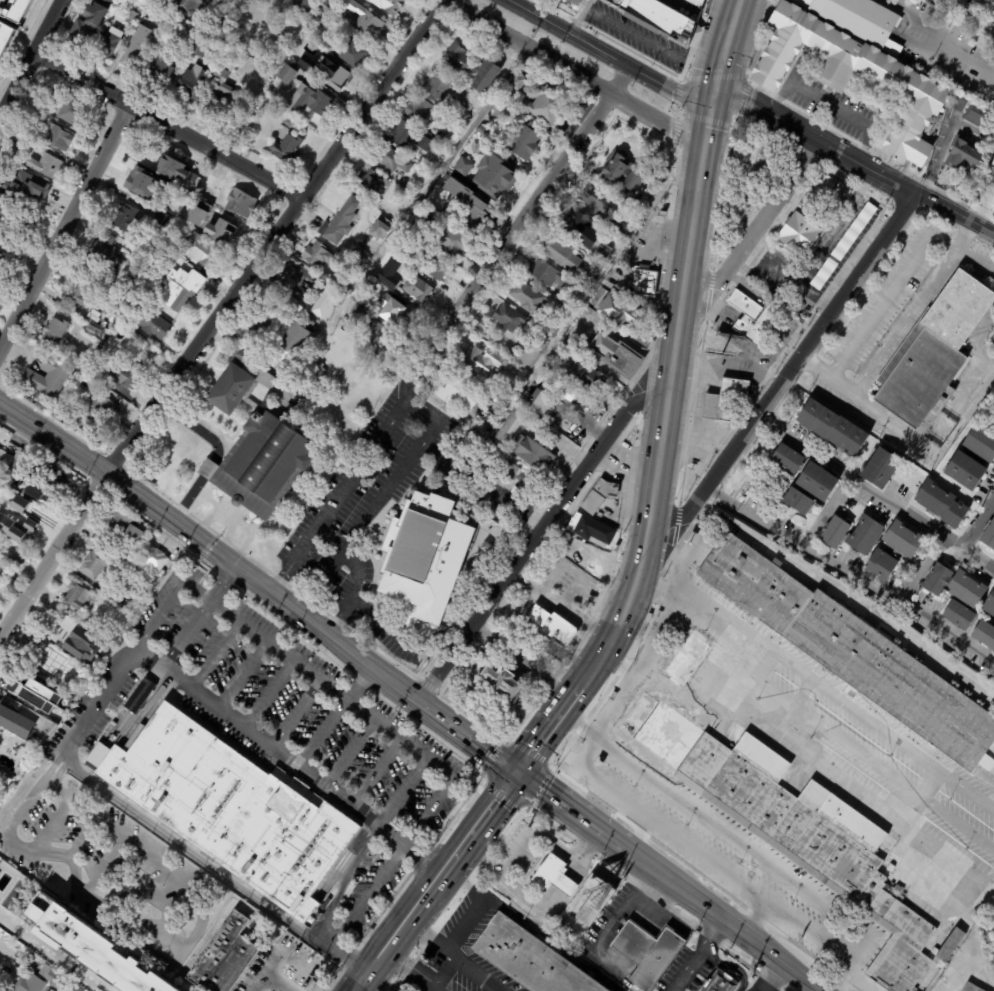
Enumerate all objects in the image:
building: (933, 0)
building: (573, 2)
building: (696, 2)
building: (303, 5)
building: (186, 6)
building: (388, 6)
building: (121, 7)
building: (326, 7)
building: (13, 9)
building: (993, 14)
road: (580, 16)
road: (540, 17)
building: (131, 18)
building: (659, 18)
building: (318, 19)
building: (860, 19)
building: (89, 22)
building: (369, 24)
building: (993, 25)
building: (4, 35)
road: (942, 35)
road: (652, 40)
building: (108, 42)
building: (299, 47)
building: (198, 48)
road: (725, 48)
building: (139, 49)
building: (350, 53)
road: (31, 61)
building: (160, 66)
building: (471, 68)
road: (640, 71)
road: (571, 74)
building: (284, 77)
building: (336, 80)
building: (190, 83)
building: (906, 84)
building: (514, 86)
building: (446, 91)
building: (223, 95)
traffic signals: (713, 96)
building: (308, 102)
building: (958, 102)
road: (831, 103)
building: (545, 105)
building: (501, 110)
building: (71, 111)
building: (422, 112)
building: (978, 116)
road: (168, 126)
building: (480, 131)
building: (447, 134)
building: (408, 136)
building: (58, 139)
building: (731, 140)
building: (525, 142)
building: (286, 148)
building: (438, 148)
building: (11, 151)
building: (767, 155)
building: (391, 159)
building: (966, 159)
road: (853, 161)
building: (992, 163)
building: (161, 164)
building: (46, 166)
building: (463, 167)
building: (622, 174)
road: (832, 176)
building: (493, 177)
building: (193, 178)
building: (660, 179)
park: (746, 179)
building: (993, 180)
building: (369, 182)
building: (144, 184)
building: (212, 184)
road: (429, 184)
building: (407, 186)
building: (836, 186)
building: (34, 191)
building: (0, 195)
building: (596, 200)
building: (240, 204)
building: (992, 210)
building: (474, 212)
building: (8, 216)
building: (125, 217)
building: (161, 219)
road: (522, 219)
building: (339, 223)
road: (759, 223)
road: (67, 226)
building: (220, 226)
building: (182, 228)
building: (418, 228)
road: (833, 228)
building: (380, 229)
building: (620, 231)
building: (798, 232)
building: (584, 235)
building: (450, 241)
building: (841, 244)
building: (103, 251)
road: (766, 251)
building: (202, 253)
building: (316, 255)
building: (561, 255)
building: (358, 258)
building: (2, 260)
building: (435, 267)
building: (597, 267)
building: (546, 275)
building: (378, 276)
road: (899, 276)
road: (737, 280)
building: (642, 281)
road: (780, 284)
road: (590, 286)
building: (180, 289)
building: (417, 289)
building: (80, 290)
building: (345, 290)
building: (529, 299)
building: (561, 300)
building: (325, 302)
building: (366, 302)
building: (743, 304)
road: (913, 309)
building: (617, 312)
building: (357, 314)
building: (396, 314)
building: (564, 314)
road: (219, 316)
building: (509, 319)
building: (103, 323)
building: (344, 323)
building: (757, 323)
building: (309, 325)
building: (154, 326)
building: (553, 327)
building: (53, 332)
building: (92, 332)
building: (315, 332)
building: (281, 333)
road: (786, 334)
road: (733, 335)
building: (379, 339)
building: (993, 339)
building: (931, 348)
building: (530, 352)
building: (618, 357)
building: (477, 363)
road: (790, 367)
road: (727, 369)
building: (315, 374)
building: (123, 375)
building: (588, 376)
building: (47, 378)
building: (101, 378)
building: (229, 386)
road: (670, 393)
building: (457, 395)
building: (493, 395)
building: (724, 397)
building: (542, 401)
building: (97, 409)
road: (396, 416)
road: (585, 425)
building: (834, 425)
road: (194, 427)
building: (511, 427)
road: (907, 434)
building: (981, 442)
road: (802, 444)
road: (694, 446)
building: (532, 455)
building: (787, 457)
building: (12, 461)
building: (262, 465)
road: (208, 468)
building: (881, 468)
building: (966, 469)
building: (510, 474)
building: (522, 479)
building: (818, 479)
building: (53, 480)
building: (149, 483)
road: (115, 485)
building: (598, 497)
building: (11, 499)
road: (186, 499)
building: (798, 500)
building: (942, 504)
road: (901, 512)
road: (975, 521)
building: (122, 529)
building: (592, 531)
building: (835, 531)
building: (20, 533)
railway: (656, 533)
building: (865, 535)
building: (989, 536)
road: (533, 537)
building: (904, 538)
road: (789, 540)
road: (691, 549)
building: (16, 555)
building: (425, 555)
building: (154, 559)
road: (975, 561)
building: (93, 564)
building: (881, 564)
building: (2, 570)
building: (740, 574)
road: (848, 574)
road: (222, 583)
building: (955, 585)
road: (196, 588)
road: (355, 590)
road: (268, 592)
building: (116, 593)
road: (846, 594)
building: (78, 595)
building: (141, 601)
building: (990, 604)
road: (559, 606)
building: (784, 606)
road: (225, 609)
road: (911, 610)
building: (652, 612)
road: (156, 613)
building: (960, 614)
building: (649, 620)
building: (552, 626)
building: (63, 628)
road: (316, 632)
building: (985, 633)
road: (185, 634)
building: (301, 635)
building: (308, 640)
building: (71, 653)
building: (38, 654)
building: (479, 654)
road: (214, 655)
road: (523, 658)
building: (685, 658)
road: (362, 667)
road: (239, 672)
building: (891, 680)
building: (501, 682)
building: (23, 683)
building: (61, 683)
building: (140, 686)
road: (414, 687)
road: (664, 687)
road: (267, 693)
building: (39, 696)
road: (403, 697)
road: (347, 698)
road: (617, 706)
building: (41, 709)
road: (294, 713)
building: (15, 722)
road: (580, 722)
parking lot: (314, 725)
road: (550, 725)
road: (321, 732)
road: (462, 740)
parking lot: (840, 742)
road: (589, 750)
road: (347, 751)
road: (286, 760)
road: (833, 760)
road: (580, 762)
building: (89, 764)
road: (376, 771)
traffic signals: (514, 773)
building: (3, 783)
road: (404, 792)
road: (560, 805)
building: (230, 807)
road: (57, 811)
road: (430, 811)
road: (143, 814)
building: (785, 823)
road: (734, 835)
road: (461, 845)
road: (518, 849)
road: (363, 851)
road: (561, 851)
parking lot: (718, 851)
building: (372, 852)
road: (594, 852)
road: (484, 854)
road: (716, 861)
road: (104, 867)
building: (891, 868)
building: (546, 871)
road: (970, 871)
road: (577, 874)
building: (563, 884)
road: (568, 887)
building: (987, 891)
road: (368, 897)
building: (993, 898)
building: (593, 900)
road: (531, 901)
road: (625, 905)
road: (330, 906)
building: (42, 908)
road: (713, 913)
road: (165, 916)
road: (756, 917)
building: (557, 929)
building: (369, 930)
building: (365, 936)
road: (427, 940)
building: (949, 944)
road: (861, 946)
building: (645, 951)
road: (53, 952)
building: (96, 953)
road: (380, 953)
road: (699, 956)
building: (224, 957)
building: (529, 958)
road: (458, 960)
road: (278, 963)
road: (348, 963)
road: (727, 963)
road: (405, 971)
building: (50, 975)
road: (841, 975)
road: (769, 977)
road: (270, 979)
road: (863, 979)
road: (383, 981)
building: (718, 982)
building: (28, 983)
building: (973, 986)
road: (810, 988)
building: (74, 989)

